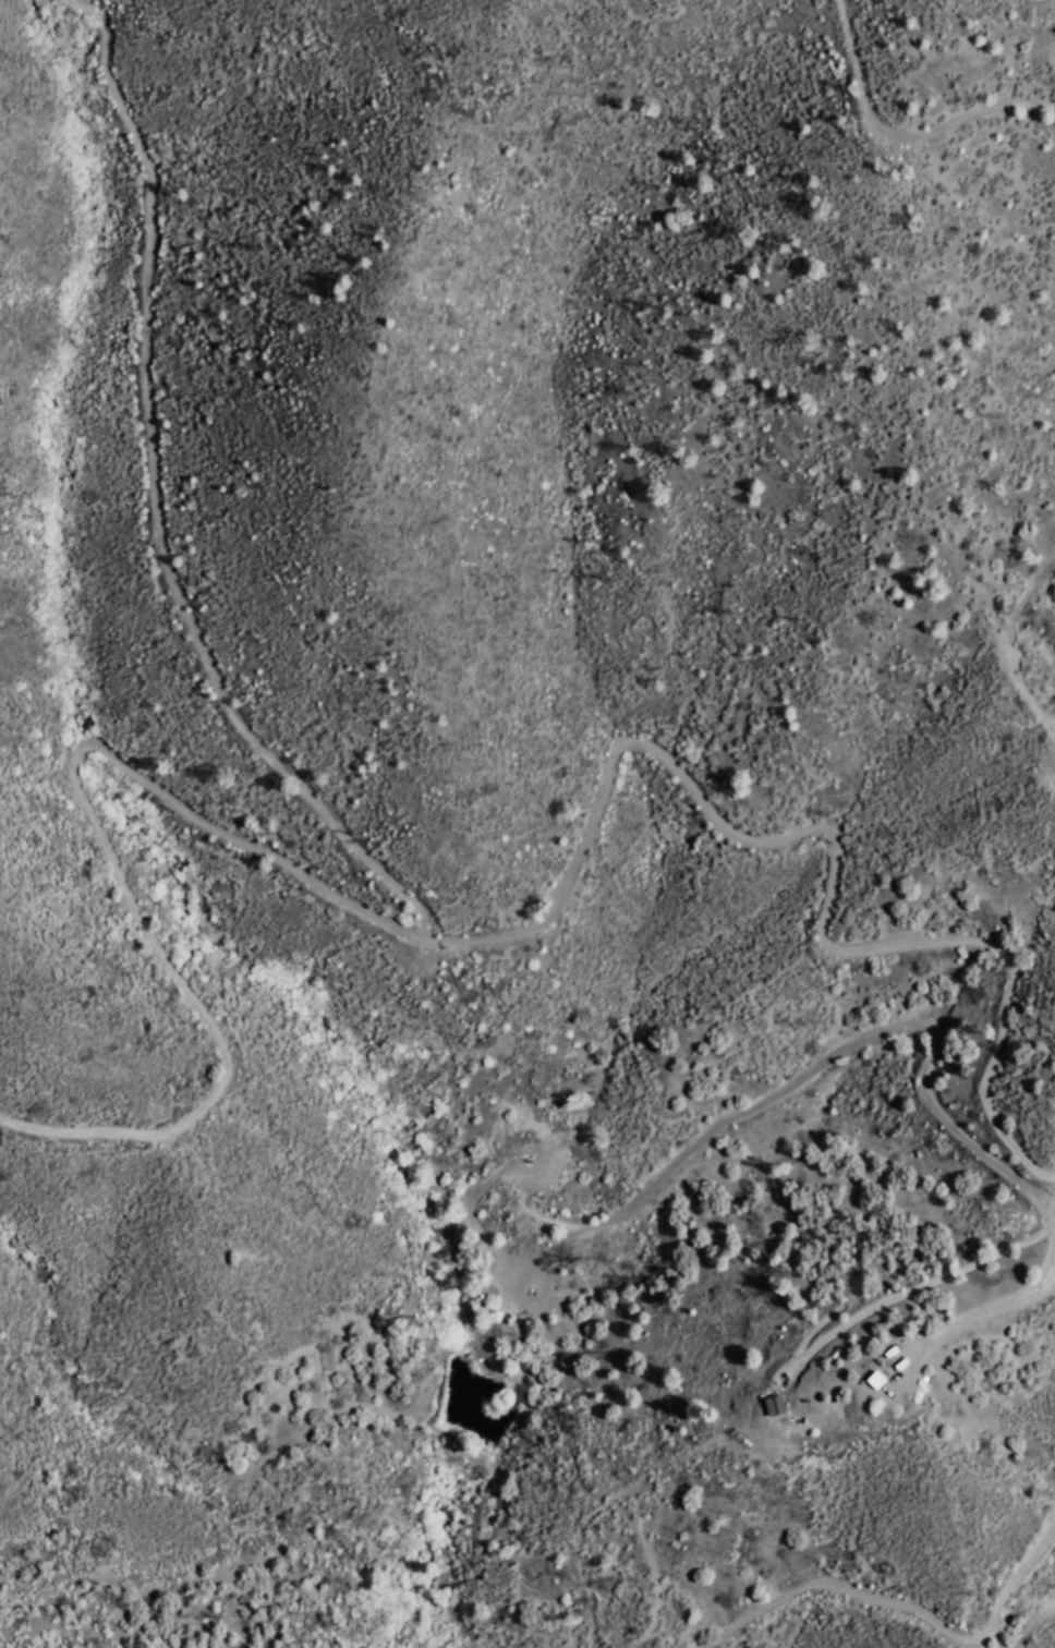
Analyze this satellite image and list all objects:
building: (493, 1364)
building: (874, 1381)
building: (773, 1406)

